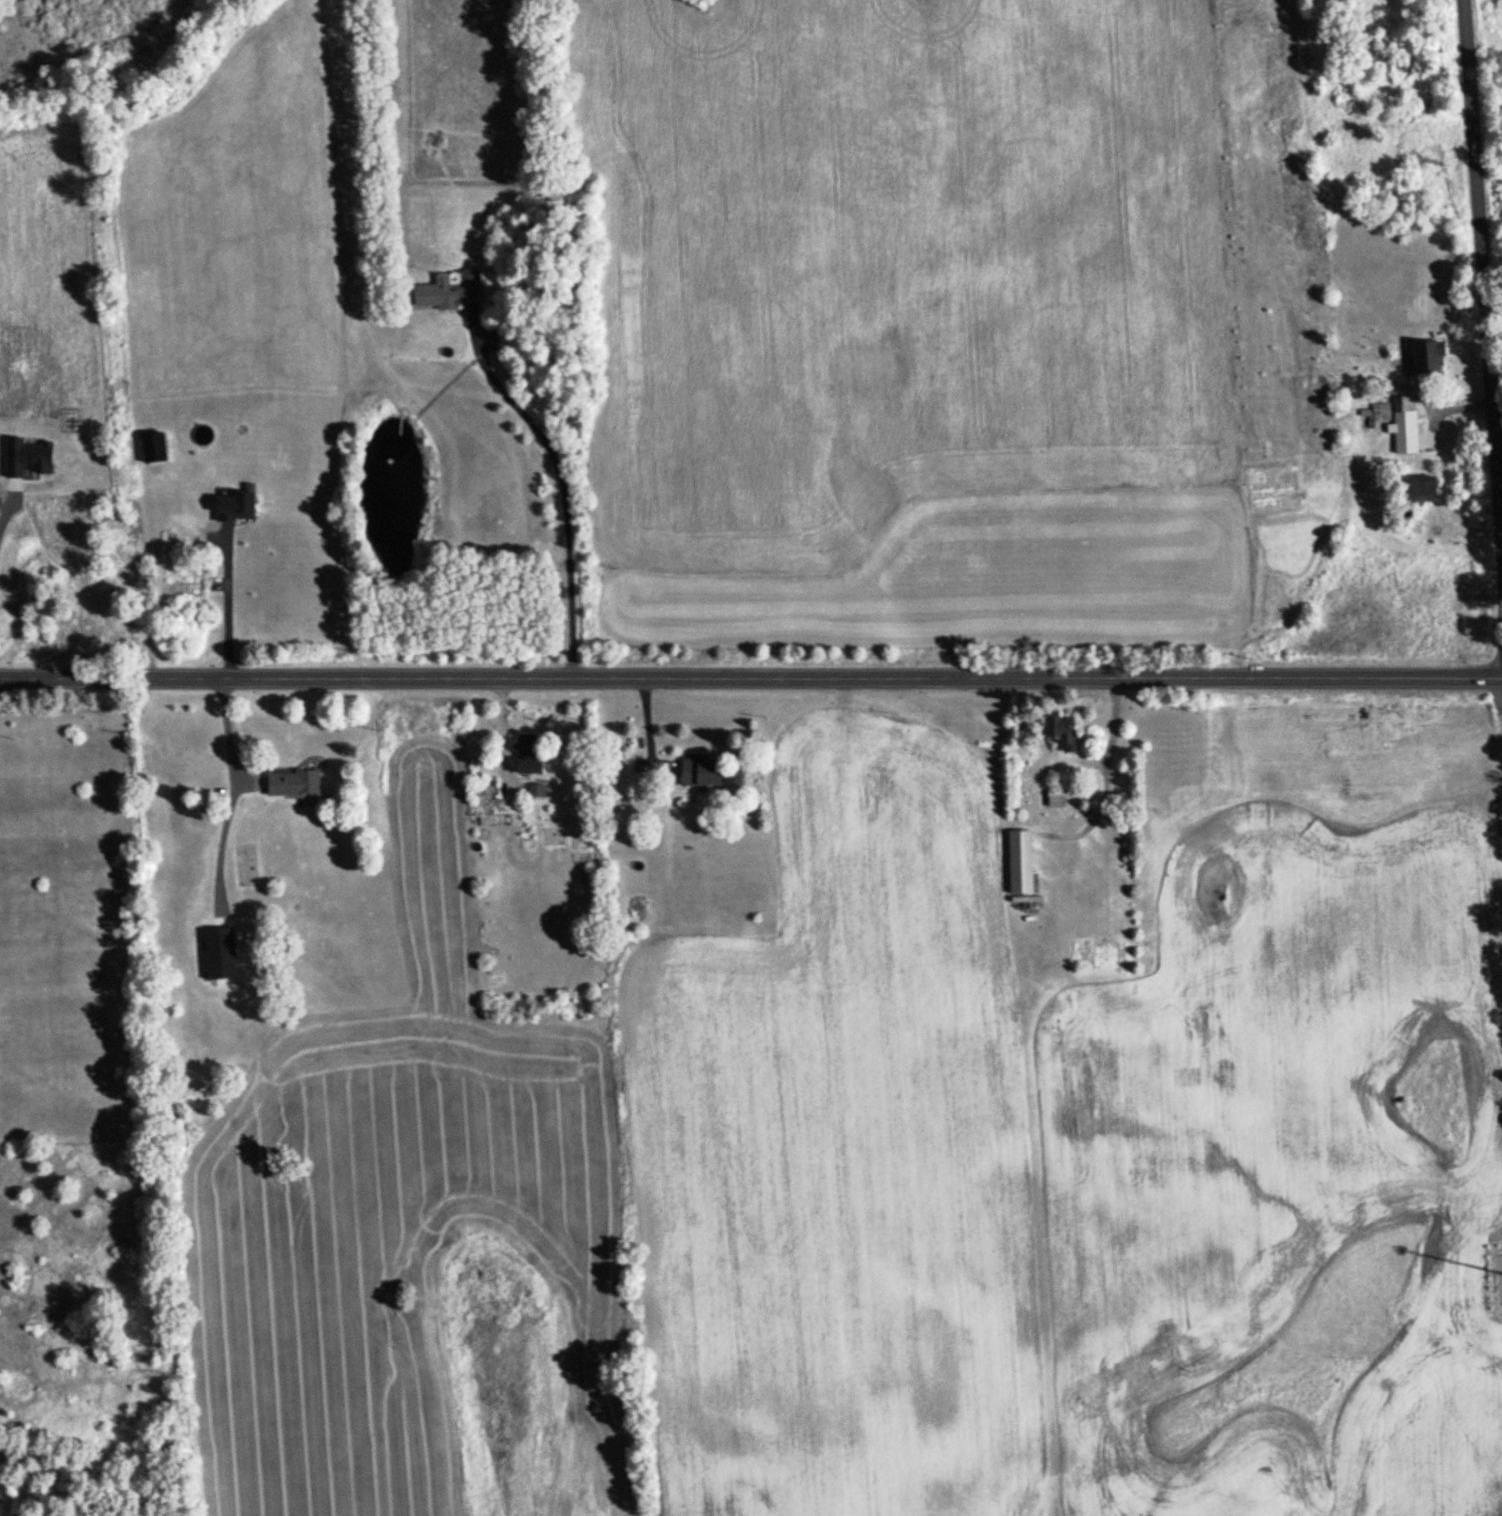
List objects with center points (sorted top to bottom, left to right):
crop: (234, 225)
crop: (899, 258)
road: (1484, 268)
building: (449, 288)
building: (1427, 355)
building: (1380, 407)
building: (1408, 428)
building: (26, 455)
building: (1418, 487)
road: (563, 498)
building: (236, 503)
road: (1, 514)
crop: (968, 571)
road: (226, 601)
road: (751, 677)
road: (501, 722)
road: (645, 726)
building: (1061, 729)
road: (226, 734)
building: (526, 759)
building: (700, 769)
building: (293, 781)
building: (535, 788)
building: (1055, 795)
building: (1020, 861)
building: (219, 951)
crop: (1032, 1158)
crop: (392, 1208)
crop: (602, 1489)

